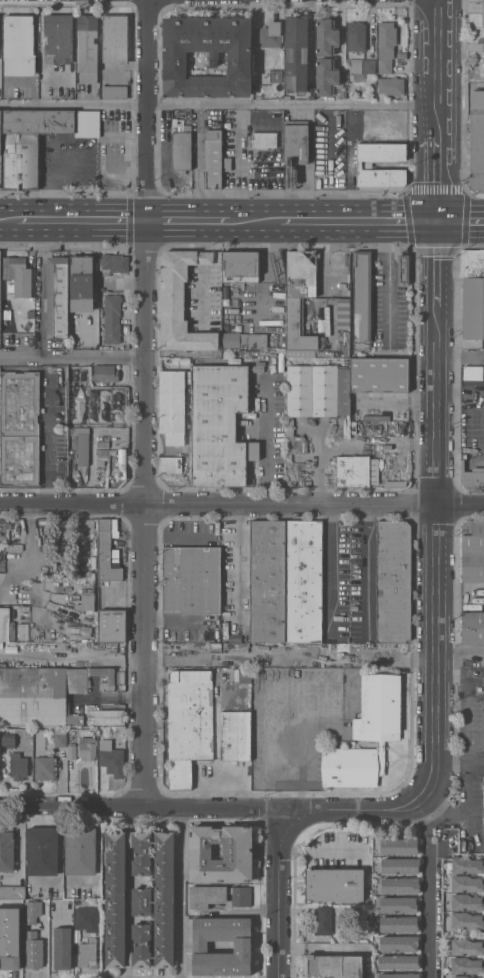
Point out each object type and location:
road: (371, 11)
building: (483, 14)
road: (341, 32)
building: (269, 34)
building: (356, 35)
building: (326, 36)
building: (58, 38)
building: (115, 38)
building: (483, 38)
building: (19, 44)
building: (386, 45)
building: (483, 45)
building: (87, 48)
building: (296, 53)
building: (402, 54)
building: (174, 59)
building: (483, 64)
building: (369, 65)
building: (483, 70)
building: (276, 75)
building: (327, 76)
building: (391, 85)
building: (115, 91)
road: (220, 105)
road: (439, 109)
building: (229, 121)
building: (87, 123)
building: (174, 123)
building: (477, 139)
building: (263, 140)
building: (27, 142)
building: (296, 142)
building: (181, 149)
building: (213, 158)
building: (227, 164)
building: (359, 165)
road: (9, 215)
road: (84, 217)
road: (189, 218)
road: (255, 218)
road: (360, 218)
traffic signals: (439, 218)
road: (461, 218)
building: (115, 262)
building: (241, 267)
building: (403, 269)
building: (17, 276)
building: (0, 277)
building: (82, 283)
building: (472, 296)
building: (57, 297)
building: (299, 297)
building: (362, 299)
building: (181, 301)
building: (112, 320)
building: (320, 320)
building: (244, 339)
building: (16, 340)
building: (346, 343)
road: (75, 358)
building: (473, 372)
building: (105, 373)
building: (86, 374)
building: (379, 375)
building: (90, 384)
building: (72, 385)
building: (314, 400)
building: (171, 405)
road: (149, 406)
building: (76, 414)
building: (219, 423)
building: (20, 427)
road: (51, 430)
building: (379, 431)
road: (266, 439)
building: (81, 442)
building: (102, 451)
building: (112, 451)
building: (103, 457)
building: (121, 463)
building: (171, 464)
building: (357, 470)
building: (471, 476)
road: (434, 498)
road: (242, 502)
building: (473, 550)
building: (109, 552)
road: (237, 563)
road: (330, 567)
road: (366, 569)
building: (191, 580)
building: (268, 580)
building: (303, 581)
building: (393, 581)
building: (86, 602)
road: (180, 617)
building: (112, 624)
building: (472, 627)
building: (45, 693)
building: (379, 708)
building: (105, 717)
building: (189, 722)
building: (235, 735)
building: (60, 739)
building: (8, 740)
building: (88, 747)
building: (71, 751)
building: (111, 757)
building: (381, 757)
road: (460, 760)
building: (18, 765)
building: (44, 767)
building: (349, 767)
building: (483, 780)
road: (364, 809)
road: (141, 812)
building: (398, 846)
building: (7, 849)
building: (238, 850)
building: (42, 851)
building: (80, 851)
building: (467, 864)
building: (400, 865)
building: (467, 883)
building: (335, 884)
building: (400, 885)
road: (433, 886)
building: (12, 891)
building: (218, 895)
road: (279, 895)
road: (181, 896)
building: (140, 899)
building: (467, 902)
building: (78, 903)
building: (398, 904)
building: (33, 908)
building: (87, 919)
building: (323, 920)
building: (467, 920)
building: (399, 924)
building: (44, 930)
building: (10, 938)
building: (399, 943)
building: (242, 946)
building: (467, 946)
building: (62, 947)
building: (34, 952)
building: (88, 953)
building: (399, 962)
building: (467, 965)
building: (332, 966)
building: (399, 975)
building: (462, 976)

